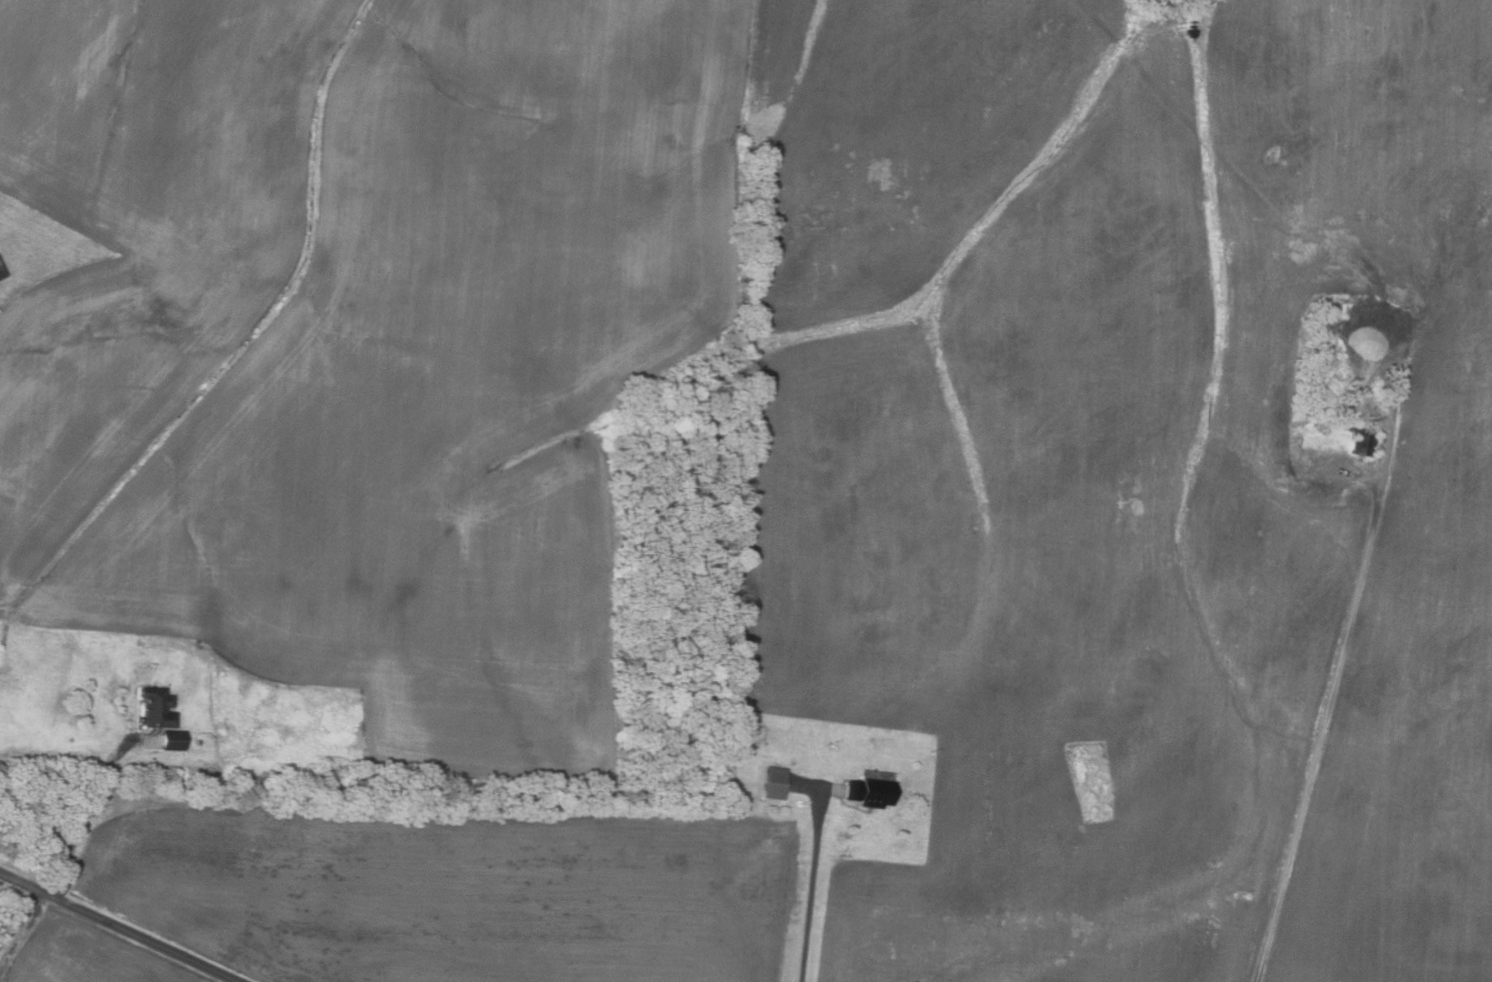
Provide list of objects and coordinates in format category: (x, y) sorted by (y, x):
building: (1, 273)
crop: (360, 338)
building: (62, 363)
building: (1363, 441)
crop: (1127, 475)
building: (156, 708)
road: (1325, 718)
building: (172, 741)
building: (200, 742)
building: (774, 784)
building: (869, 793)
road: (83, 818)
road: (812, 885)
crop: (452, 892)
road: (118, 927)
road: (24, 932)
crop: (86, 957)

